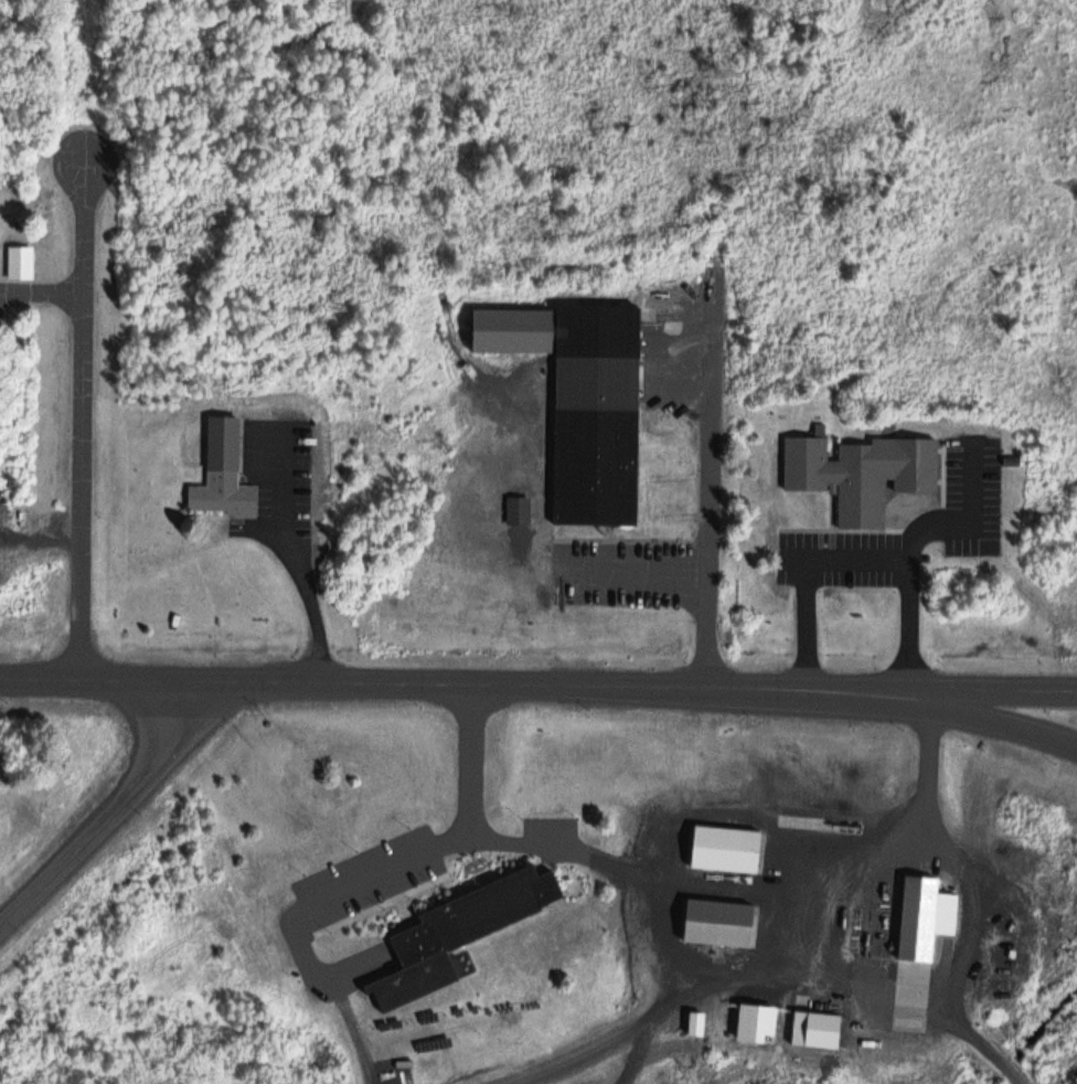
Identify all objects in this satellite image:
building: (22, 261)
building: (506, 330)
building: (593, 413)
road: (86, 417)
building: (223, 470)
building: (838, 476)
road: (713, 496)
building: (518, 508)
road: (44, 536)
road: (860, 560)
road: (301, 561)
road: (433, 683)
road: (971, 689)
road: (971, 715)
road: (473, 762)
road: (115, 811)
road: (885, 844)
building: (726, 848)
road: (649, 894)
road: (292, 913)
building: (921, 916)
building: (469, 918)
building: (721, 921)
road: (777, 979)
building: (830, 1030)

